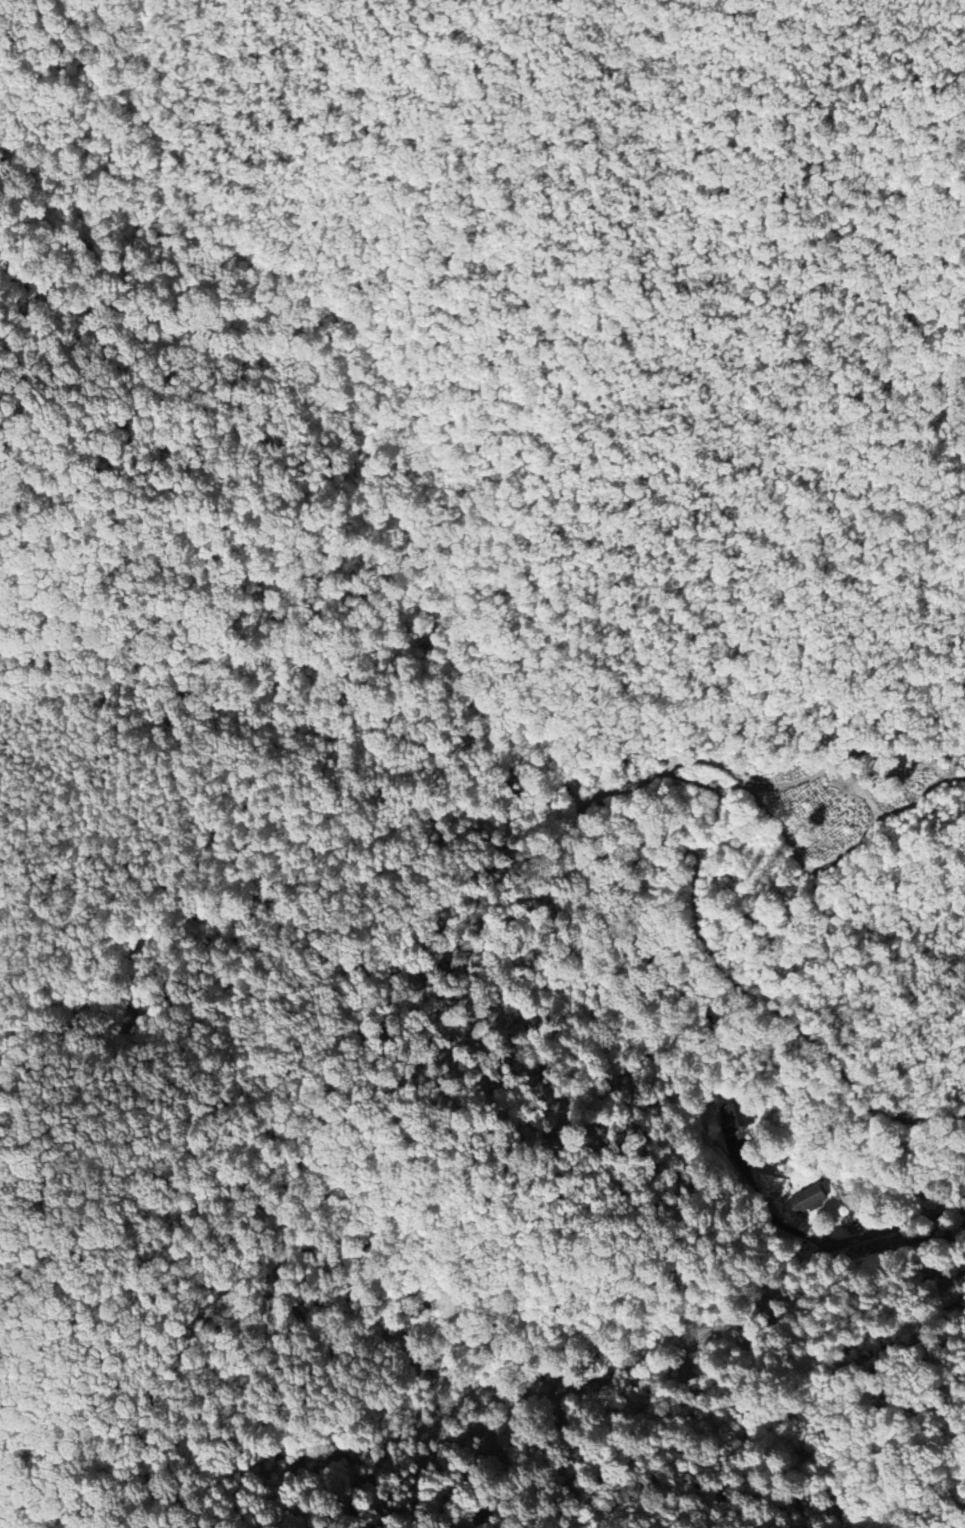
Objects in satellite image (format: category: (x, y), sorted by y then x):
road: (79, 516)
river: (430, 638)
road: (15, 742)
road: (4, 995)
road: (763, 1208)
road: (898, 1225)

